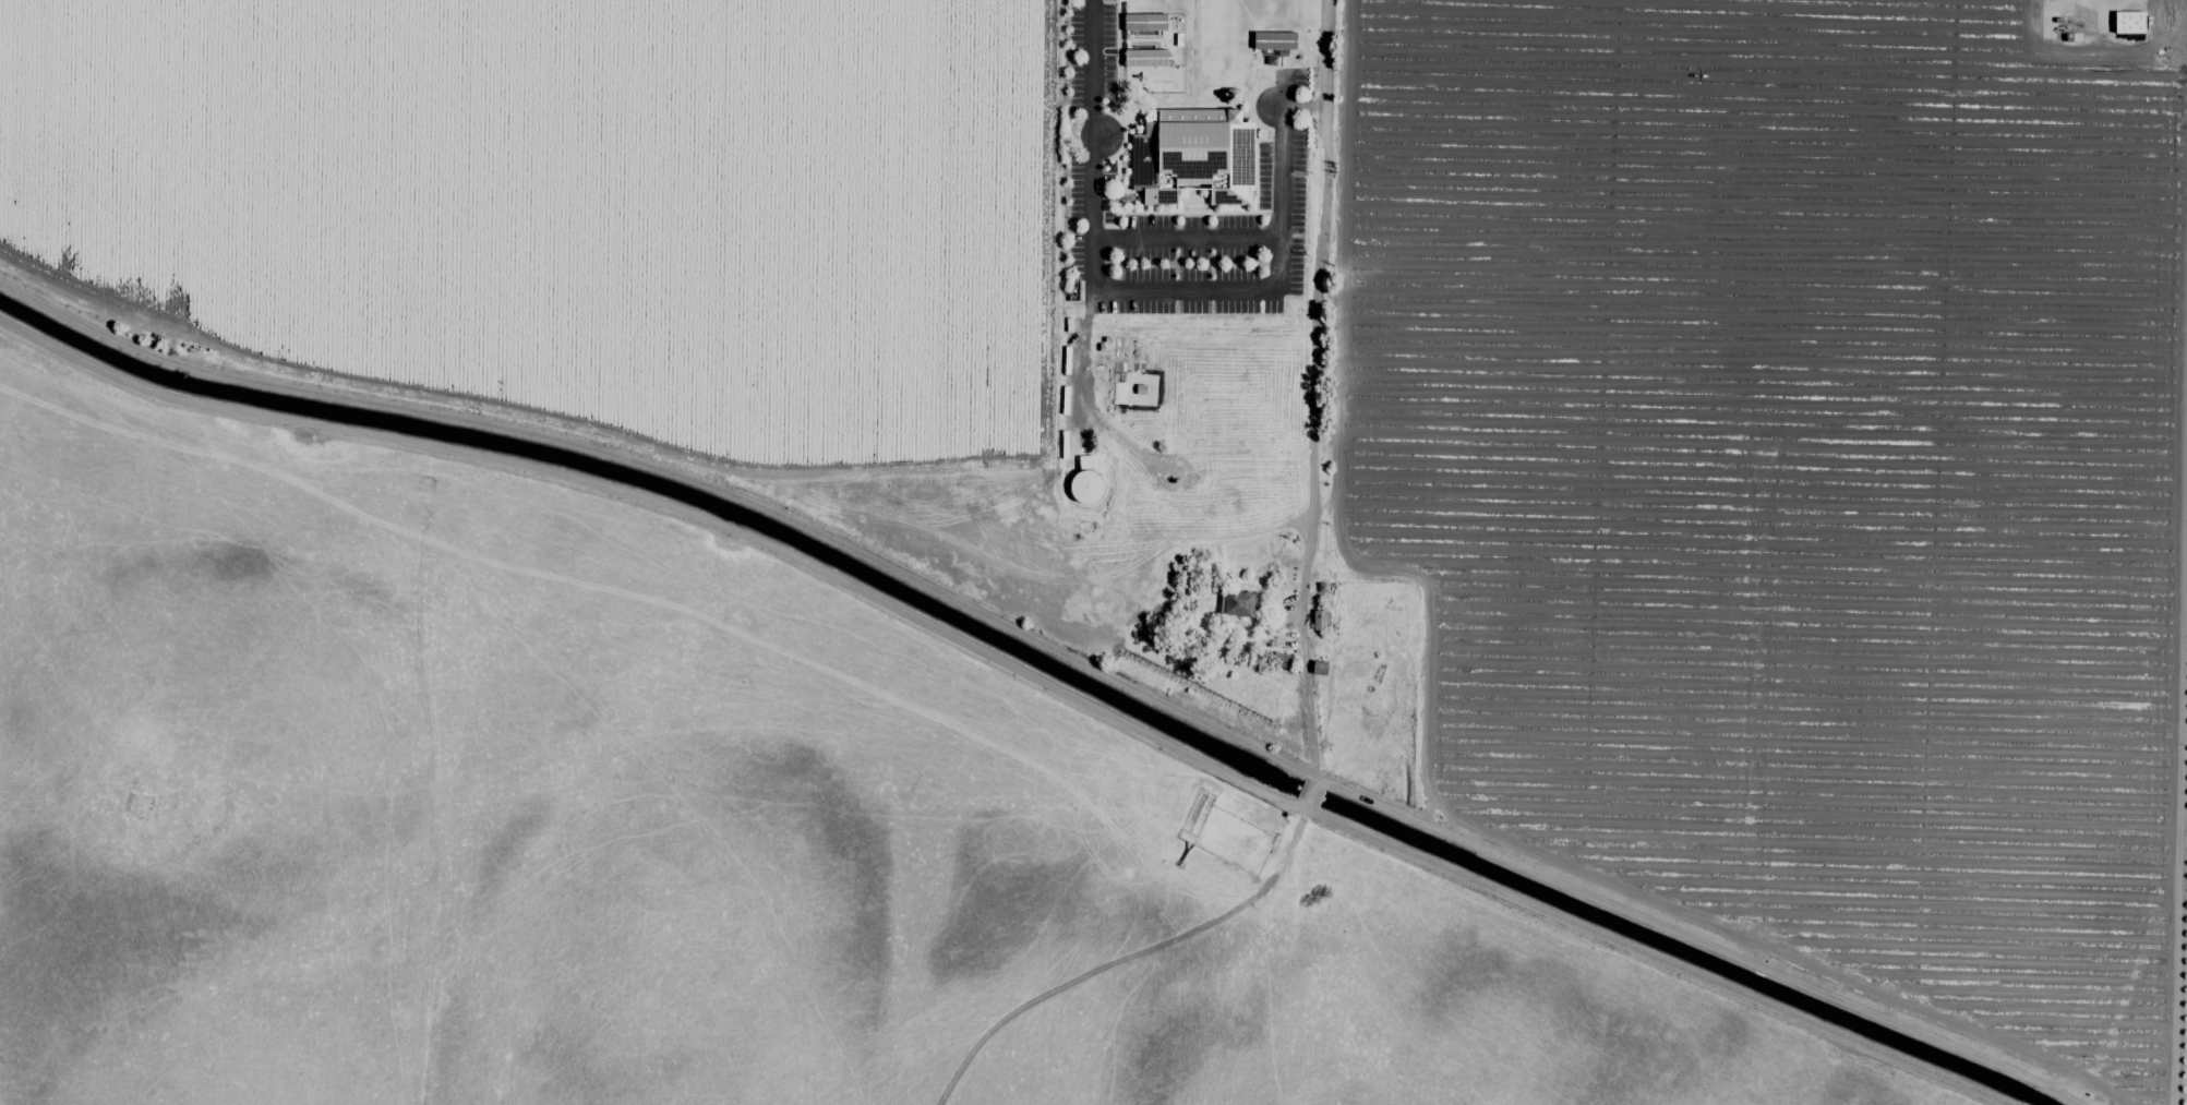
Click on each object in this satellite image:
building: (1144, 22)
building: (2128, 23)
building: (1273, 41)
road: (2111, 48)
building: (1144, 58)
road: (1094, 68)
road: (1188, 239)
road: (1319, 254)
road: (1222, 287)
crop: (1791, 479)
building: (1084, 482)
building: (1237, 604)
crop: (719, 611)
road: (1300, 644)
road: (1072, 659)

